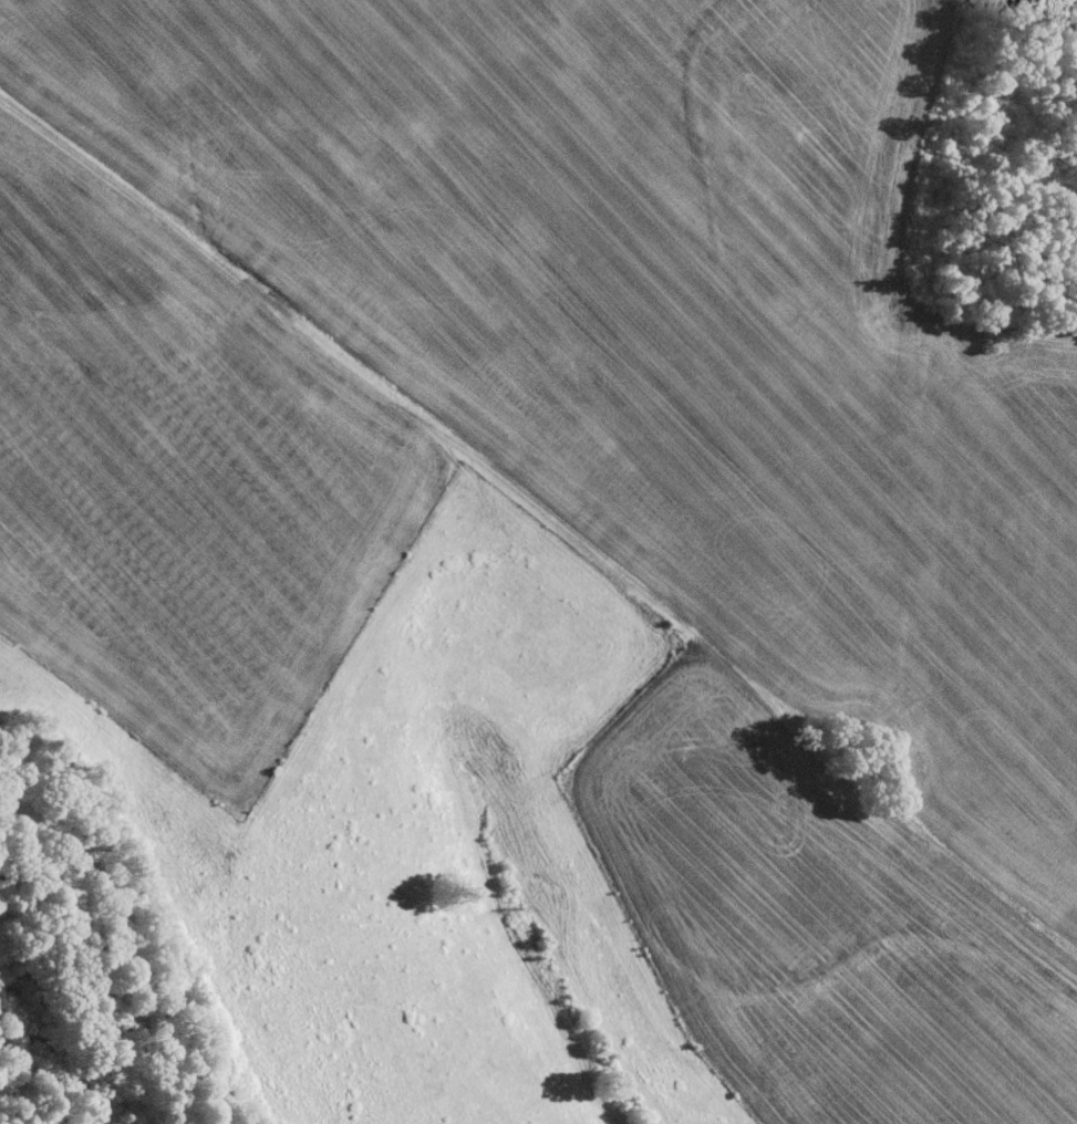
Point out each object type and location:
road: (342, 370)
crop: (545, 555)

